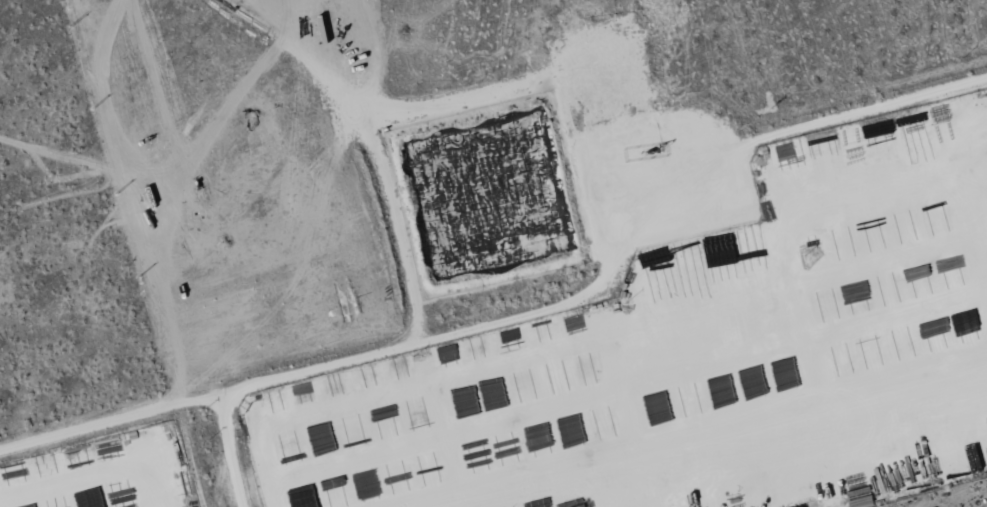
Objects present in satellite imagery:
road: (416, 323)
road: (109, 418)

